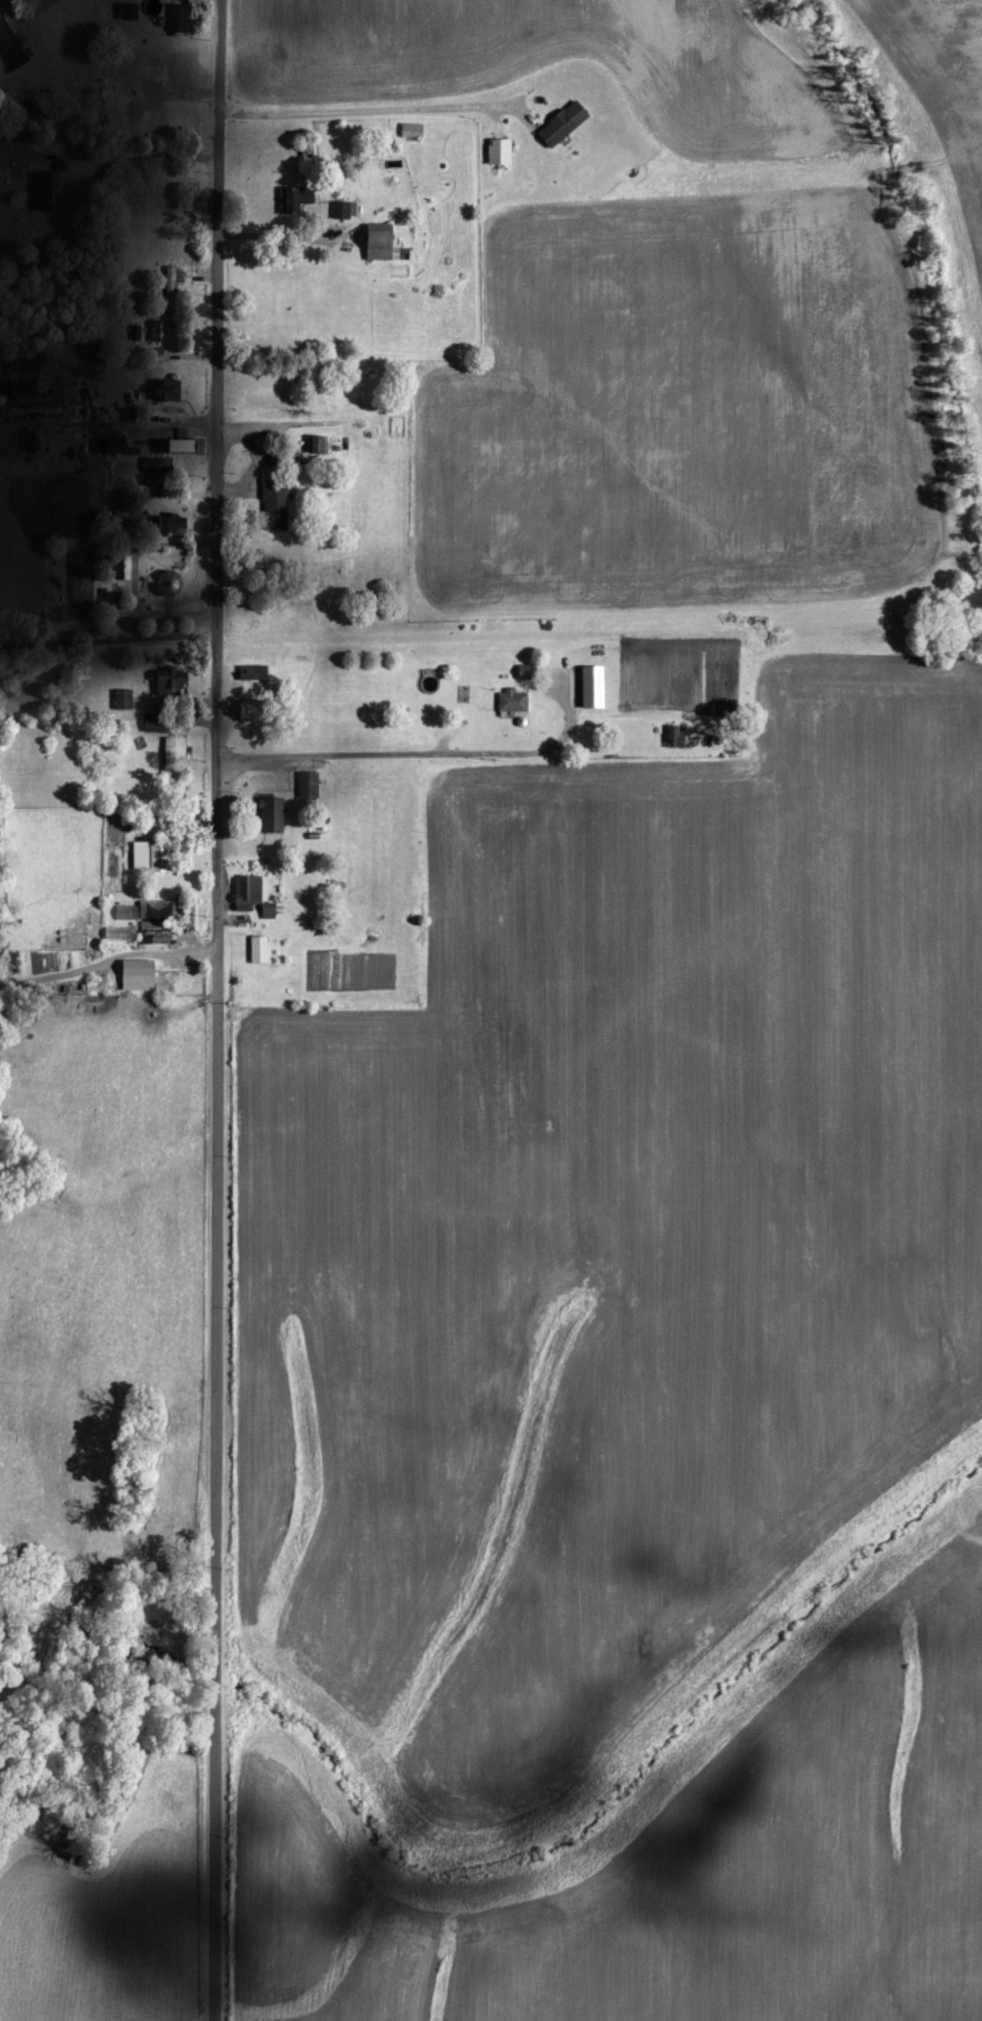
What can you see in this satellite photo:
building: (130, 11)
building: (180, 17)
building: (12, 45)
building: (566, 123)
building: (413, 130)
building: (502, 151)
building: (4, 156)
building: (46, 190)
building: (298, 199)
building: (345, 209)
building: (384, 242)
building: (173, 286)
building: (23, 390)
building: (166, 390)
building: (31, 441)
building: (319, 444)
building: (177, 445)
building: (156, 464)
building: (278, 504)
building: (172, 523)
building: (172, 584)
building: (596, 687)
building: (124, 699)
building: (515, 703)
building: (251, 710)
building: (155, 722)
building: (681, 737)
road: (410, 752)
building: (174, 754)
building: (310, 785)
building: (274, 815)
building: (153, 856)
building: (249, 892)
building: (158, 908)
building: (127, 912)
building: (150, 924)
building: (121, 933)
building: (260, 950)
building: (140, 975)
road: (212, 1010)

